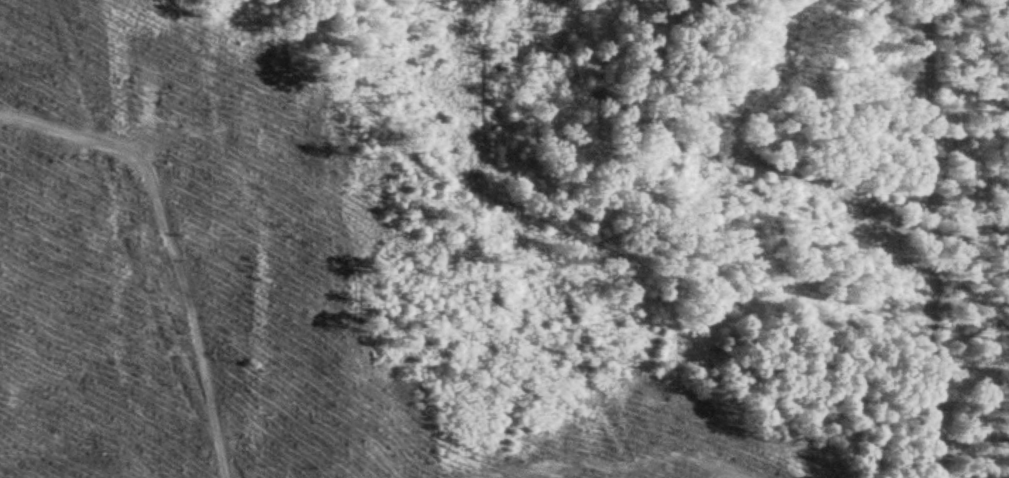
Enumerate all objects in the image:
road: (937, 239)

